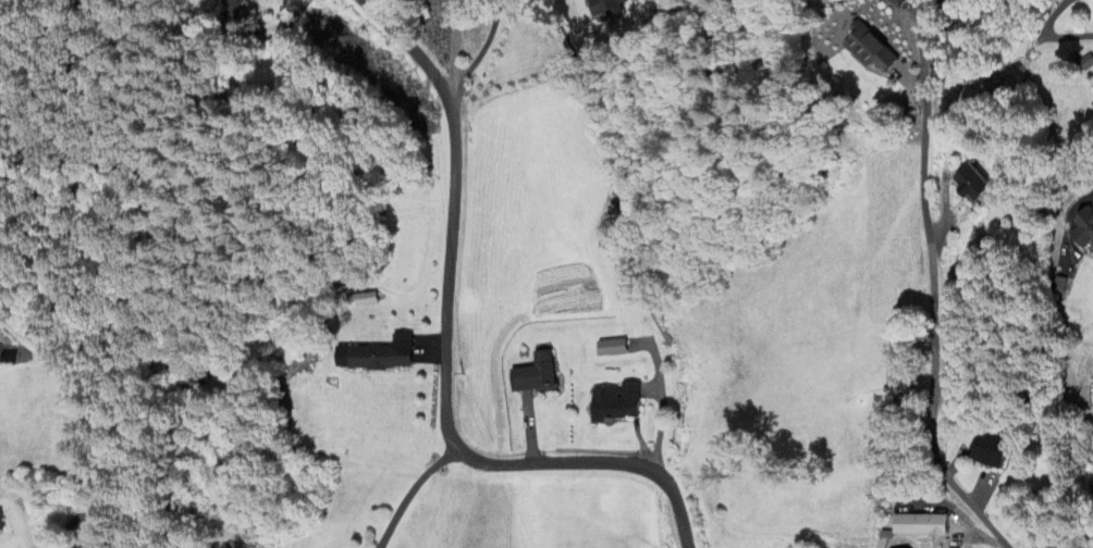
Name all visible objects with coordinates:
building: (607, 7)
road: (1071, 35)
road: (454, 45)
road: (482, 48)
building: (872, 49)
building: (977, 185)
road: (1066, 220)
building: (1084, 229)
building: (610, 242)
building: (361, 300)
road: (449, 316)
road: (933, 321)
building: (615, 348)
building: (380, 356)
building: (538, 374)
building: (205, 378)
building: (618, 403)
building: (995, 452)
road: (409, 494)
road: (675, 515)
building: (1, 523)
building: (923, 525)

